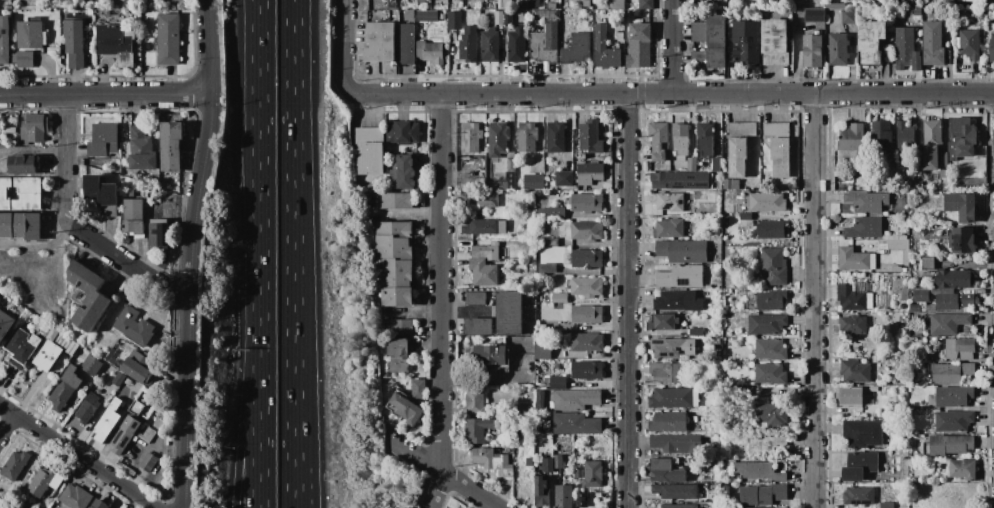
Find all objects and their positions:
building: (566, 0)
building: (421, 1)
building: (534, 3)
building: (586, 3)
building: (391, 4)
building: (616, 4)
building: (645, 4)
building: (835, 5)
building: (552, 6)
building: (519, 12)
building: (960, 12)
building: (409, 14)
building: (544, 14)
building: (426, 15)
building: (814, 15)
building: (441, 16)
building: (498, 17)
building: (508, 17)
building: (848, 17)
building: (454, 20)
building: (590, 25)
building: (698, 31)
building: (30, 35)
building: (619, 35)
building: (774, 35)
building: (5, 39)
building: (169, 39)
building: (380, 41)
building: (716, 41)
building: (747, 41)
building: (74, 42)
building: (871, 42)
building: (934, 42)
building: (116, 43)
building: (406, 43)
building: (517, 43)
building: (969, 43)
building: (469, 44)
road: (340, 45)
building: (490, 45)
building: (544, 45)
building: (639, 45)
road: (673, 46)
building: (992, 46)
building: (604, 48)
building: (577, 49)
building: (838, 49)
building: (813, 50)
building: (906, 50)
building: (431, 51)
building: (699, 57)
building: (23, 58)
road: (670, 93)
road: (105, 94)
building: (34, 127)
building: (10, 128)
building: (964, 131)
building: (403, 132)
building: (369, 134)
building: (881, 134)
building: (593, 135)
building: (905, 135)
building: (471, 136)
building: (527, 137)
building: (556, 137)
building: (851, 137)
building: (705, 138)
building: (680, 139)
building: (103, 140)
building: (498, 140)
building: (659, 140)
building: (931, 144)
building: (171, 145)
building: (739, 147)
building: (778, 147)
building: (141, 149)
road: (33, 150)
building: (965, 151)
road: (293, 153)
road: (65, 158)
building: (370, 158)
building: (943, 159)
building: (895, 160)
road: (258, 161)
building: (511, 164)
building: (691, 164)
building: (716, 164)
building: (23, 170)
building: (402, 171)
building: (589, 173)
building: (944, 173)
building: (470, 174)
building: (563, 178)
building: (680, 180)
building: (917, 180)
building: (533, 182)
building: (474, 183)
building: (729, 184)
building: (500, 186)
building: (575, 189)
building: (129, 192)
building: (13, 193)
building: (21, 193)
building: (100, 194)
building: (394, 200)
building: (485, 200)
building: (668, 201)
building: (586, 202)
building: (767, 202)
building: (868, 202)
building: (961, 205)
building: (529, 209)
building: (552, 213)
building: (134, 216)
building: (745, 219)
building: (21, 225)
building: (485, 226)
building: (864, 227)
building: (670, 228)
building: (771, 229)
building: (586, 230)
building: (159, 233)
building: (962, 239)
building: (549, 241)
building: (683, 251)
road: (191, 253)
building: (512, 256)
building: (586, 258)
building: (856, 259)
building: (395, 261)
building: (927, 263)
road: (127, 264)
building: (484, 264)
building: (774, 266)
building: (547, 267)
building: (899, 269)
building: (681, 276)
building: (956, 278)
road: (440, 281)
building: (587, 286)
building: (708, 286)
building: (905, 293)
building: (88, 295)
building: (922, 295)
building: (559, 297)
building: (475, 298)
building: (852, 298)
building: (607, 299)
road: (626, 300)
building: (680, 300)
building: (772, 300)
road: (814, 301)
building: (955, 301)
building: (922, 306)
building: (931, 309)
building: (531, 310)
building: (510, 313)
building: (587, 314)
building: (663, 321)
building: (947, 323)
building: (5, 324)
building: (767, 324)
building: (853, 324)
building: (135, 326)
building: (479, 326)
building: (402, 327)
building: (542, 327)
building: (695, 331)
building: (744, 335)
building: (718, 340)
building: (586, 341)
building: (22, 344)
building: (878, 346)
building: (71, 347)
building: (668, 348)
building: (960, 348)
building: (770, 349)
building: (543, 350)
building: (490, 354)
building: (47, 355)
building: (398, 355)
building: (874, 359)
building: (91, 365)
building: (143, 366)
building: (587, 369)
building: (666, 372)
building: (856, 372)
building: (771, 373)
building: (951, 373)
building: (118, 378)
building: (558, 382)
building: (64, 388)
building: (418, 389)
building: (850, 395)
building: (954, 396)
building: (674, 398)
building: (575, 399)
building: (475, 401)
building: (540, 401)
building: (87, 407)
road: (293, 407)
road: (304, 407)
building: (136, 408)
building: (406, 408)
building: (771, 413)
road: (243, 414)
road: (259, 415)
building: (874, 415)
building: (107, 421)
building: (954, 421)
building: (669, 422)
building: (576, 423)
road: (8, 427)
building: (479, 428)
building: (862, 432)
building: (146, 433)
building: (124, 434)
building: (677, 443)
building: (766, 444)
building: (951, 445)
building: (734, 448)
road: (413, 455)
road: (82, 456)
building: (493, 461)
building: (559, 461)
building: (148, 462)
building: (529, 462)
building: (15, 465)
building: (547, 465)
building: (860, 465)
building: (963, 468)
building: (666, 471)
building: (759, 472)
building: (593, 474)
building: (44, 481)
road: (467, 488)
road: (436, 489)
building: (542, 491)
building: (676, 491)
building: (761, 495)
building: (859, 495)
building: (564, 496)
building: (75, 497)
building: (581, 500)
building: (99, 504)
building: (889, 505)
building: (680, 506)
building: (0, 507)
building: (37, 507)
building: (744, 507)

